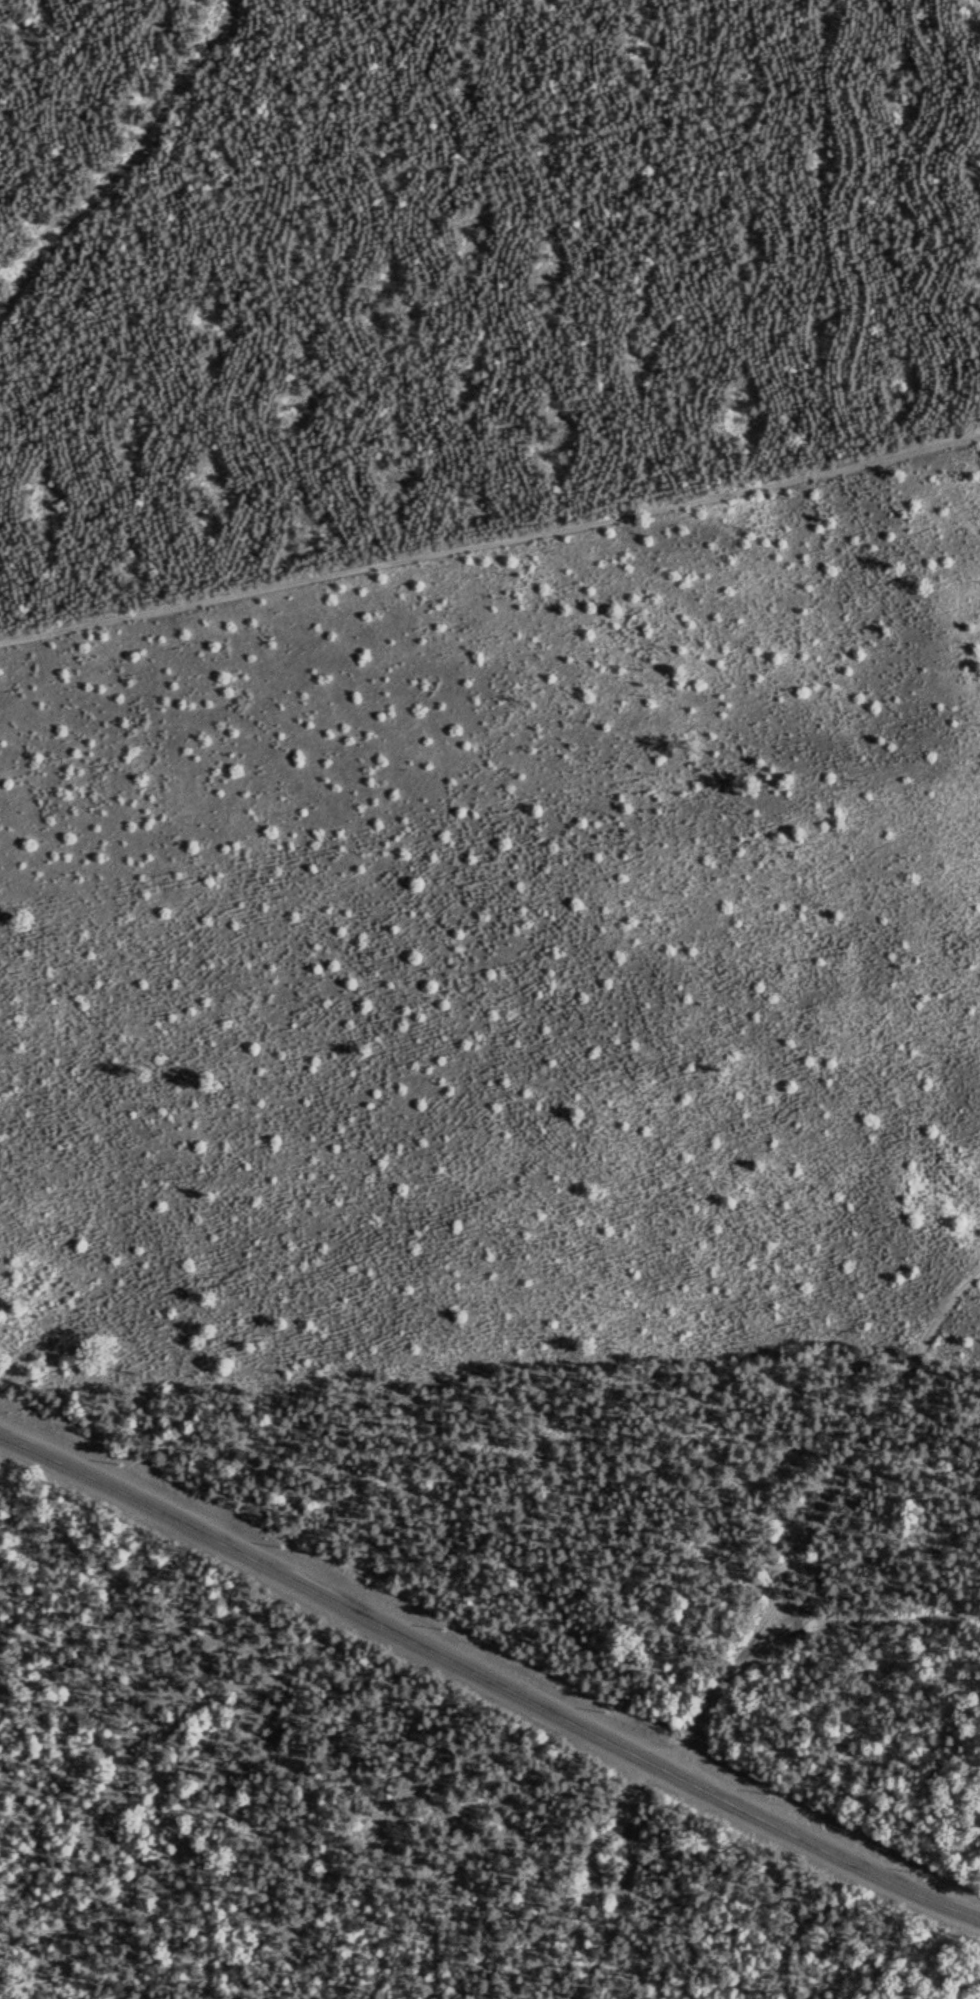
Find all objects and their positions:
road: (121, 160)
road: (490, 546)
road: (289, 1315)
road: (807, 1505)
road: (489, 1677)
road: (592, 1859)
road: (629, 1883)

